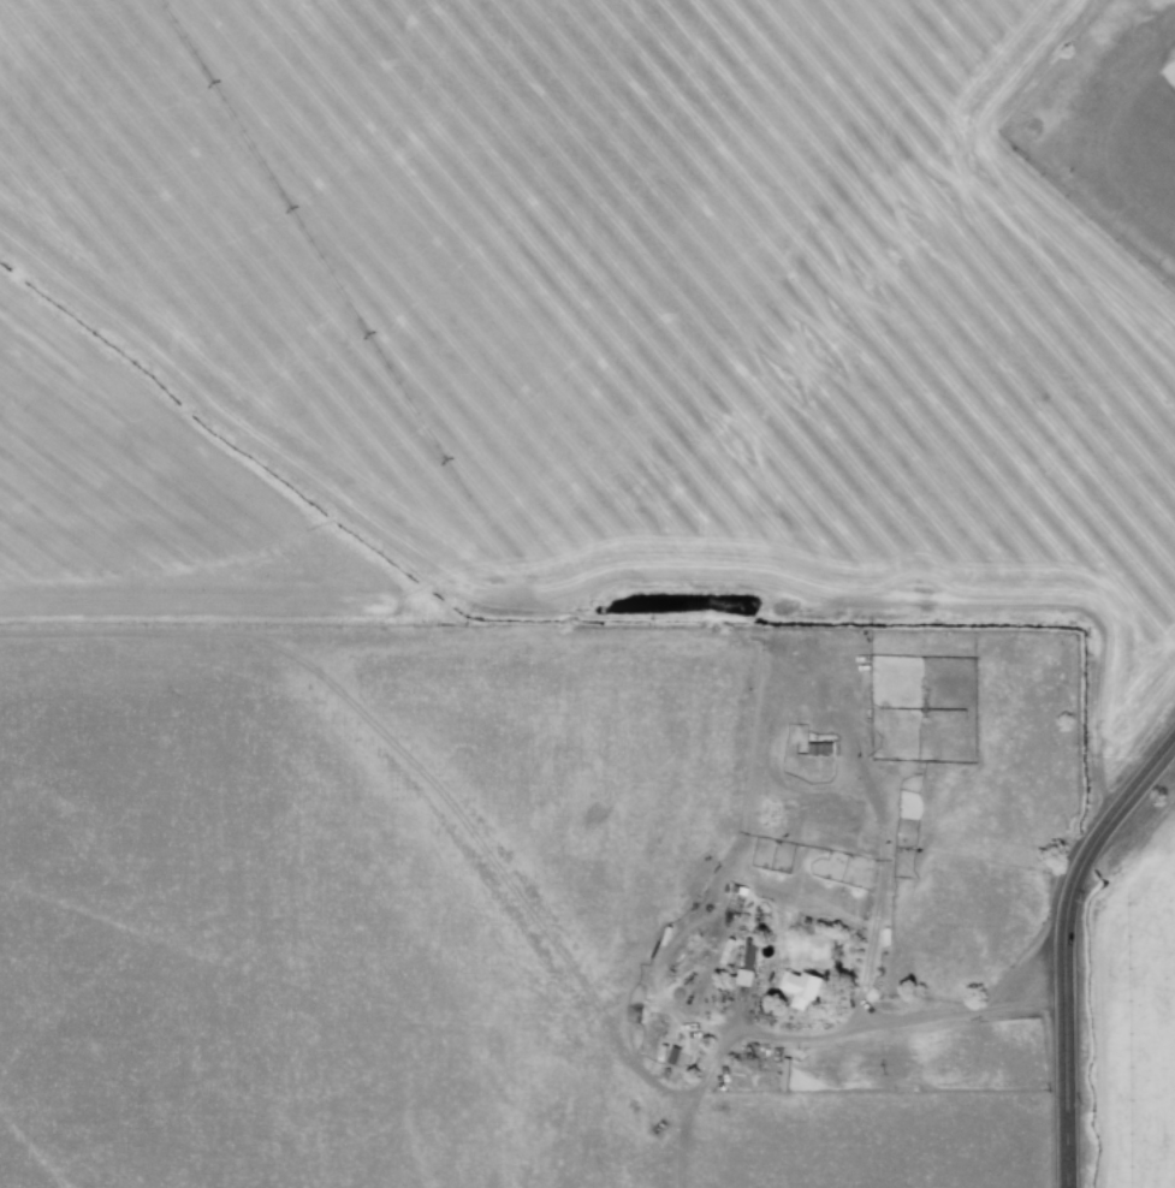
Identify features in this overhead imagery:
building: (817, 749)
road: (1060, 944)
building: (743, 967)
building: (796, 988)

